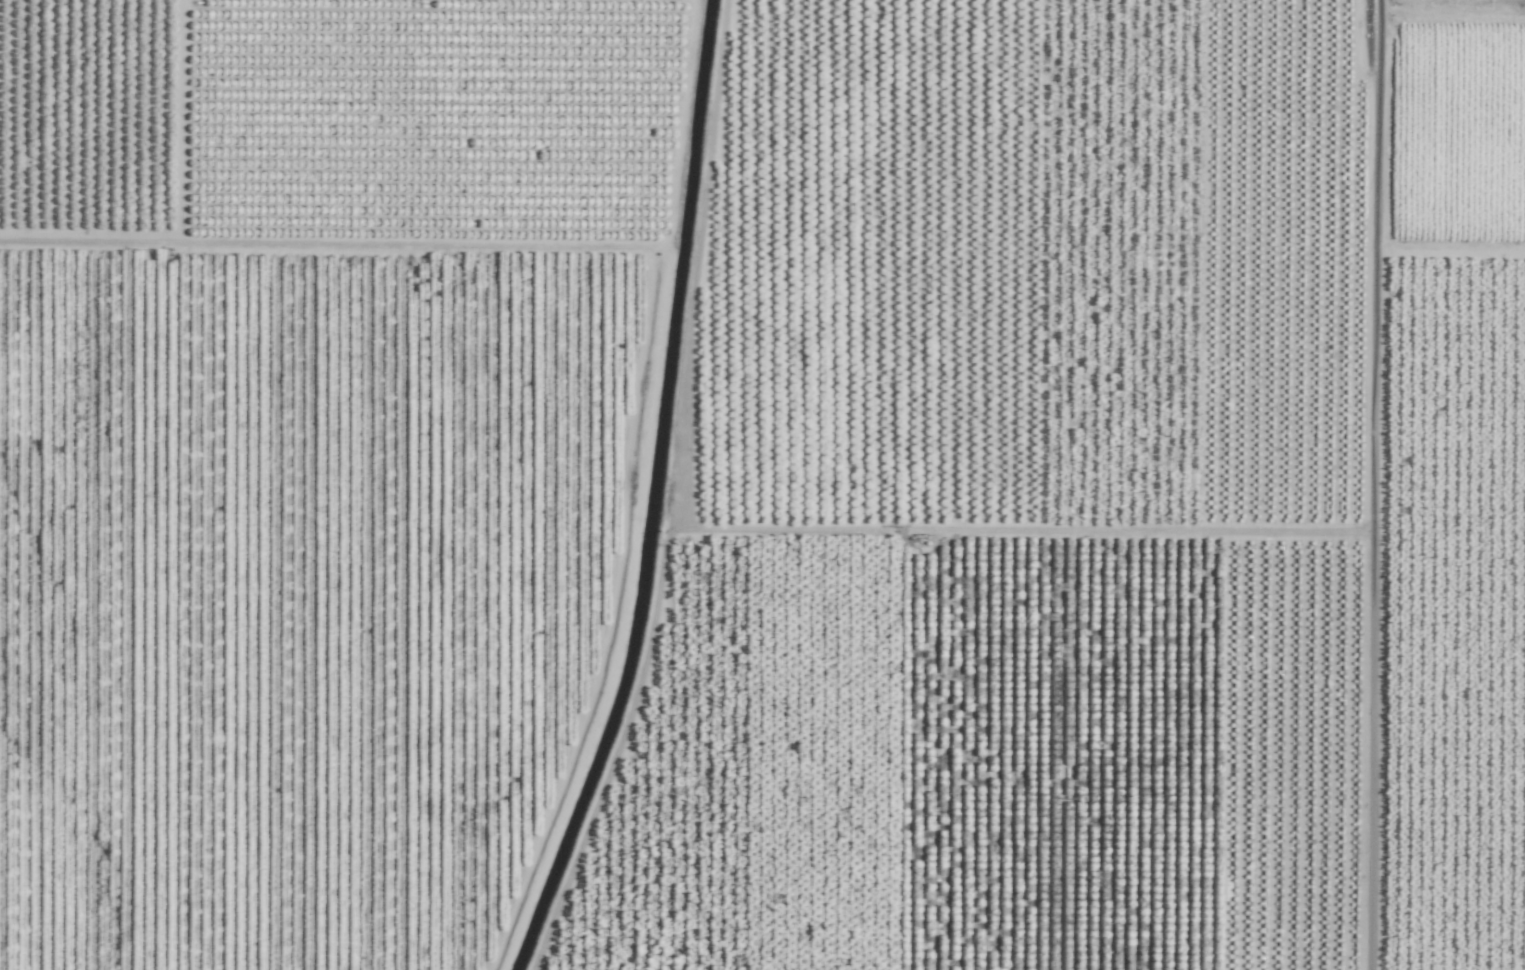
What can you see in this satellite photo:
road: (1454, 250)
road: (1384, 485)

